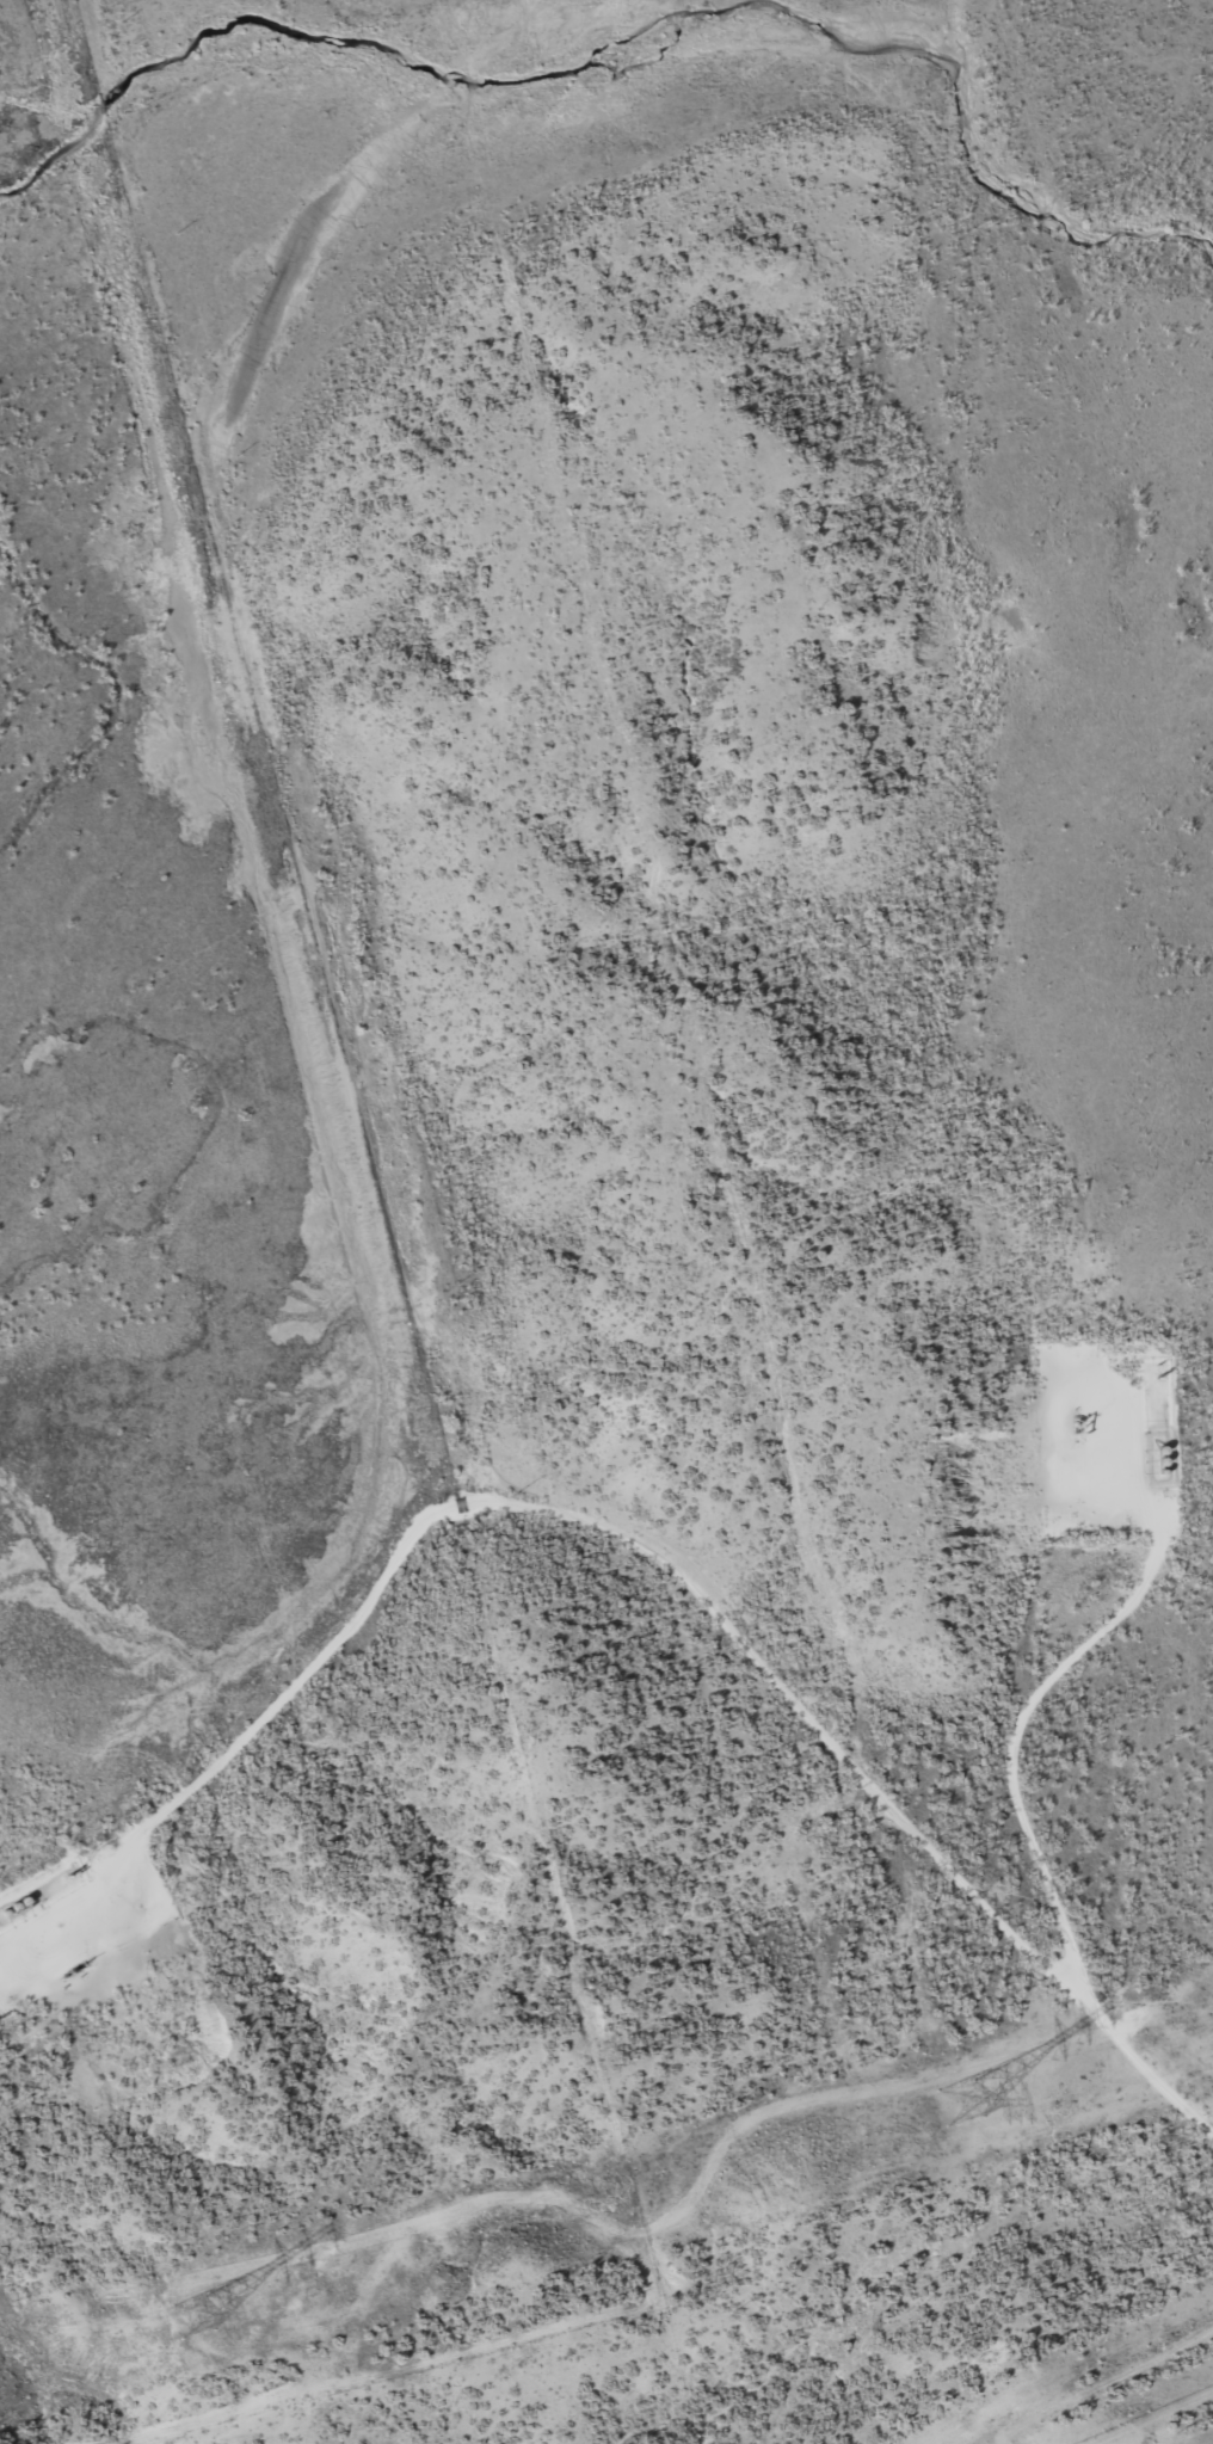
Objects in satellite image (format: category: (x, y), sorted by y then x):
power tower: (959, 2101)
power tower: (192, 2316)

